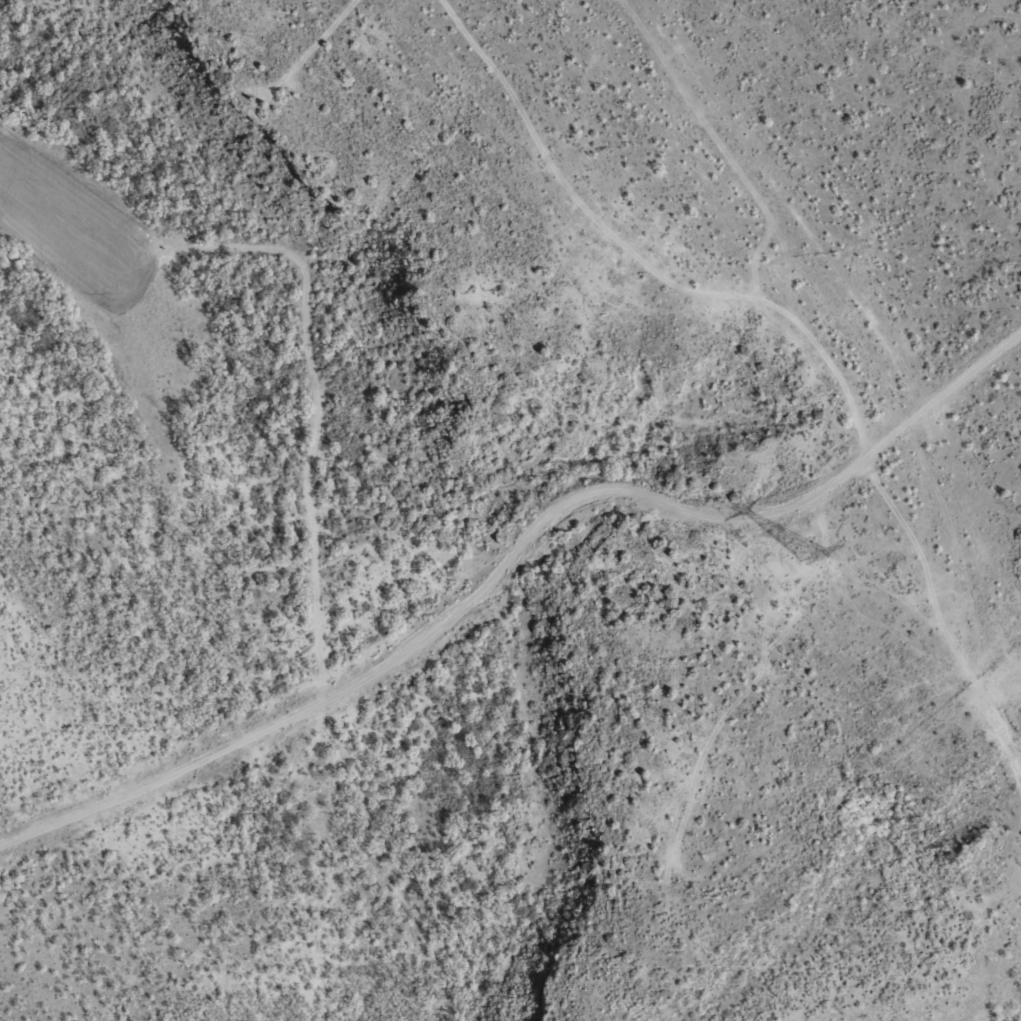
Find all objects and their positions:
power tower: (802, 550)

